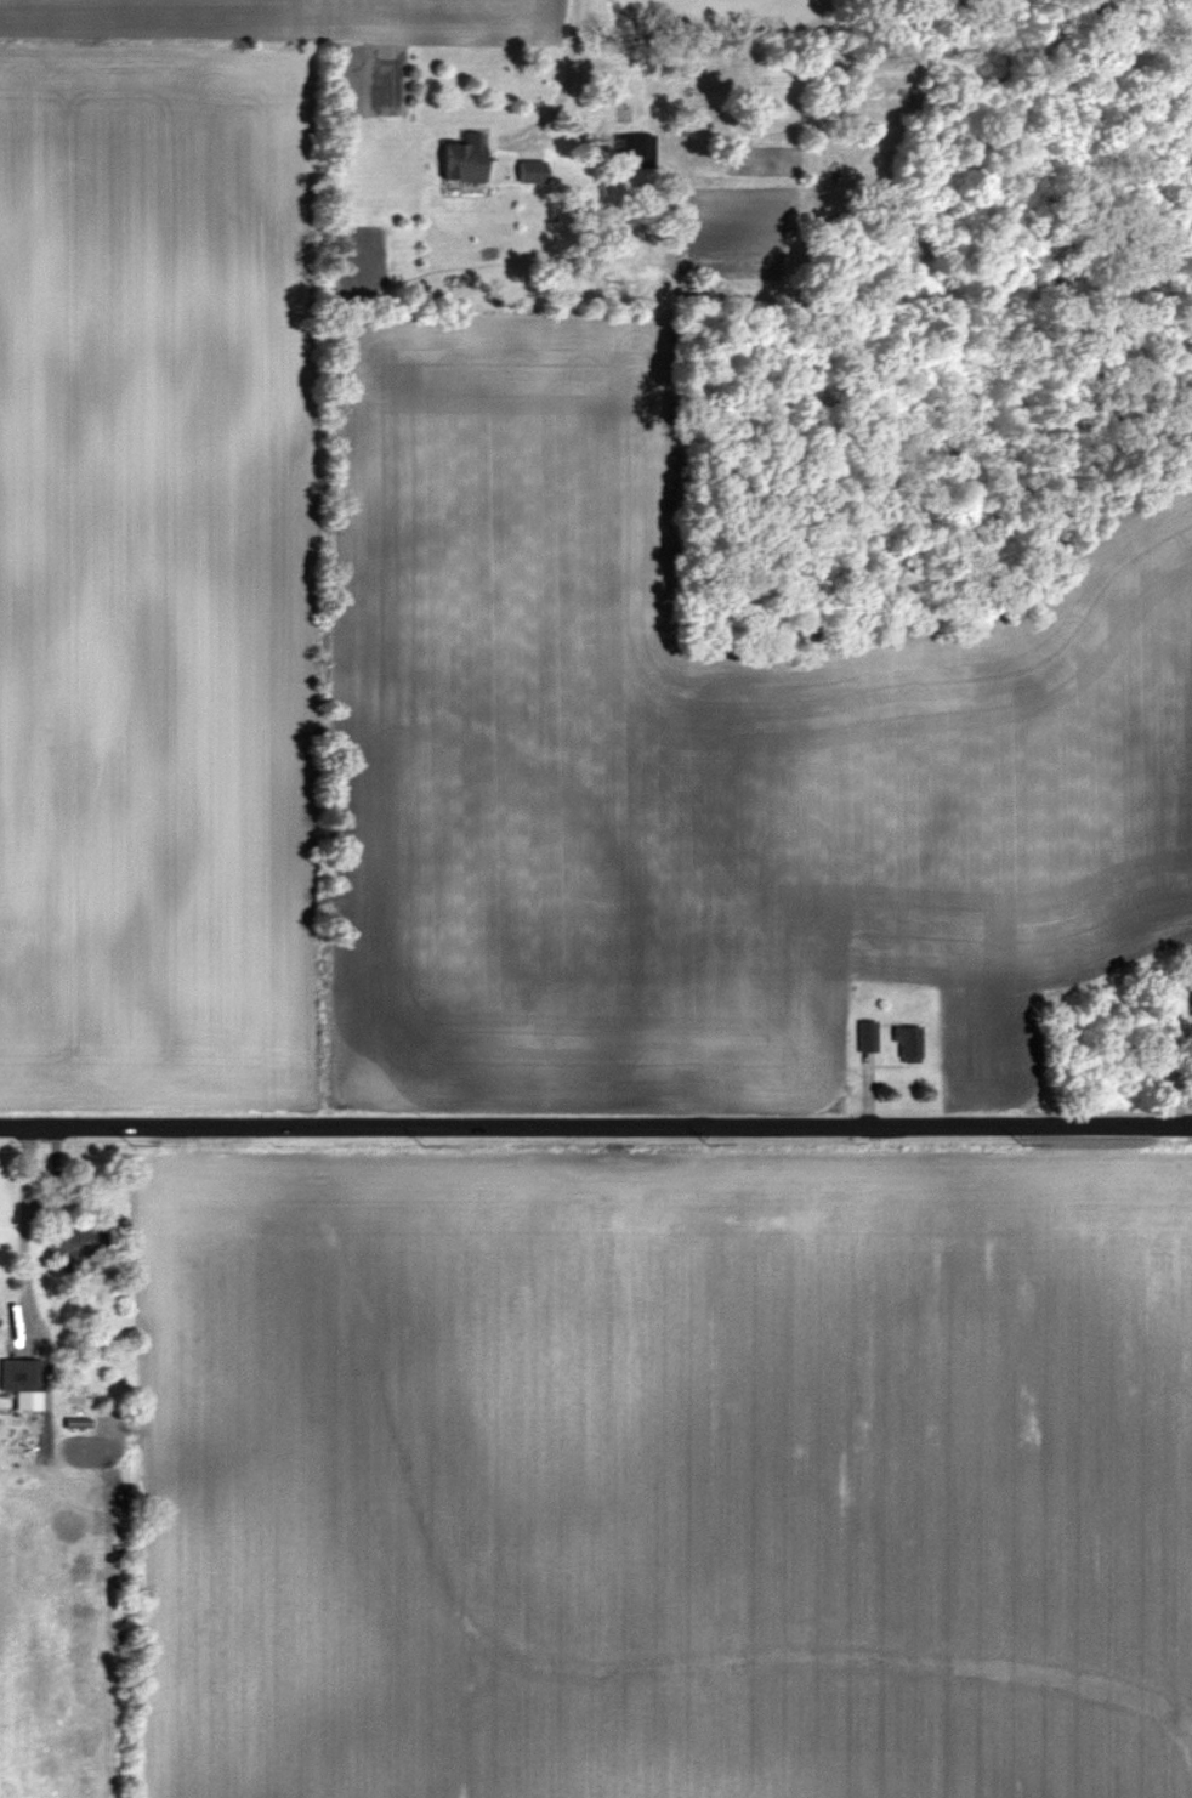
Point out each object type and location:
road: (580, 67)
building: (461, 160)
building: (528, 172)
building: (1191, 1000)
building: (865, 1036)
building: (906, 1042)
road: (596, 1125)
building: (74, 1246)
building: (21, 1382)

